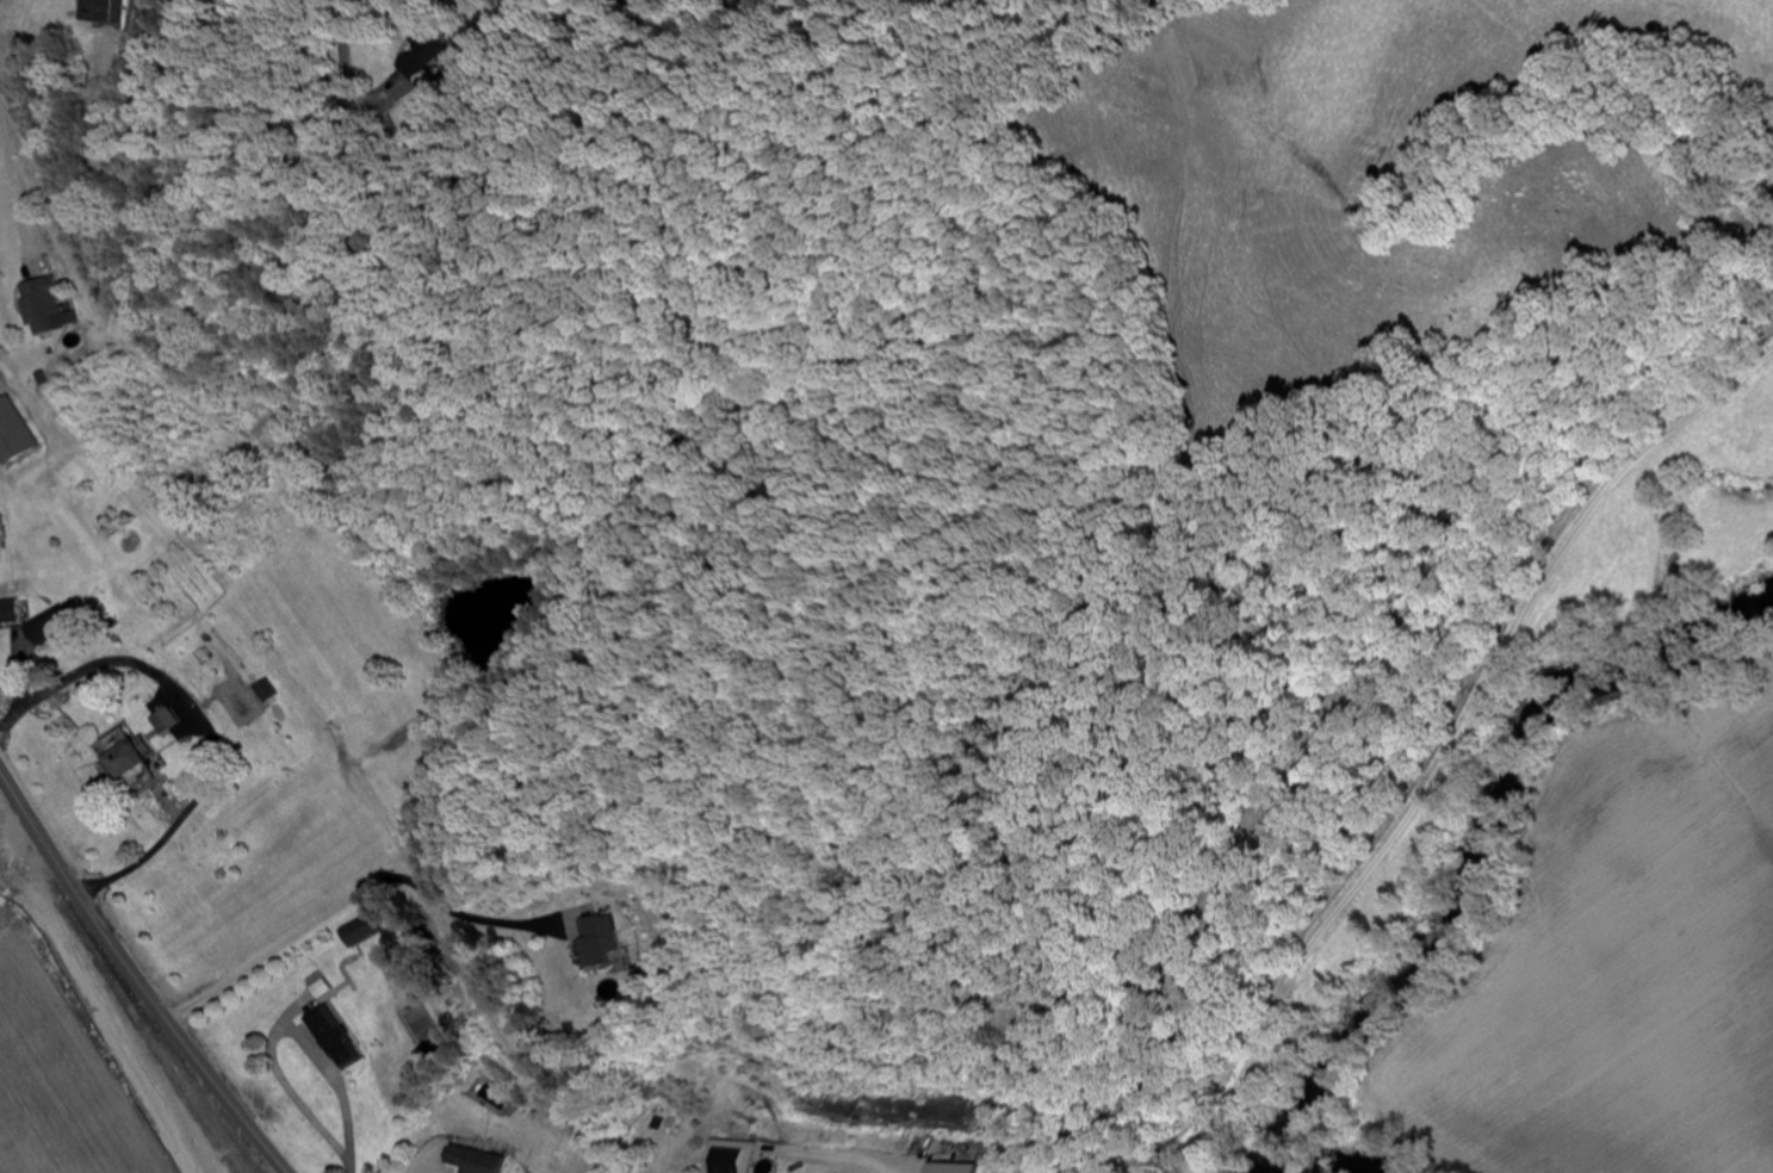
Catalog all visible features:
building: (87, 11)
road: (346, 38)
building: (422, 58)
building: (41, 306)
building: (12, 434)
building: (11, 613)
building: (163, 722)
road: (1451, 752)
building: (119, 755)
building: (354, 932)
building: (593, 941)
road: (134, 977)
building: (331, 1038)
building: (466, 1161)
building: (719, 1162)
river: (1321, 1163)

